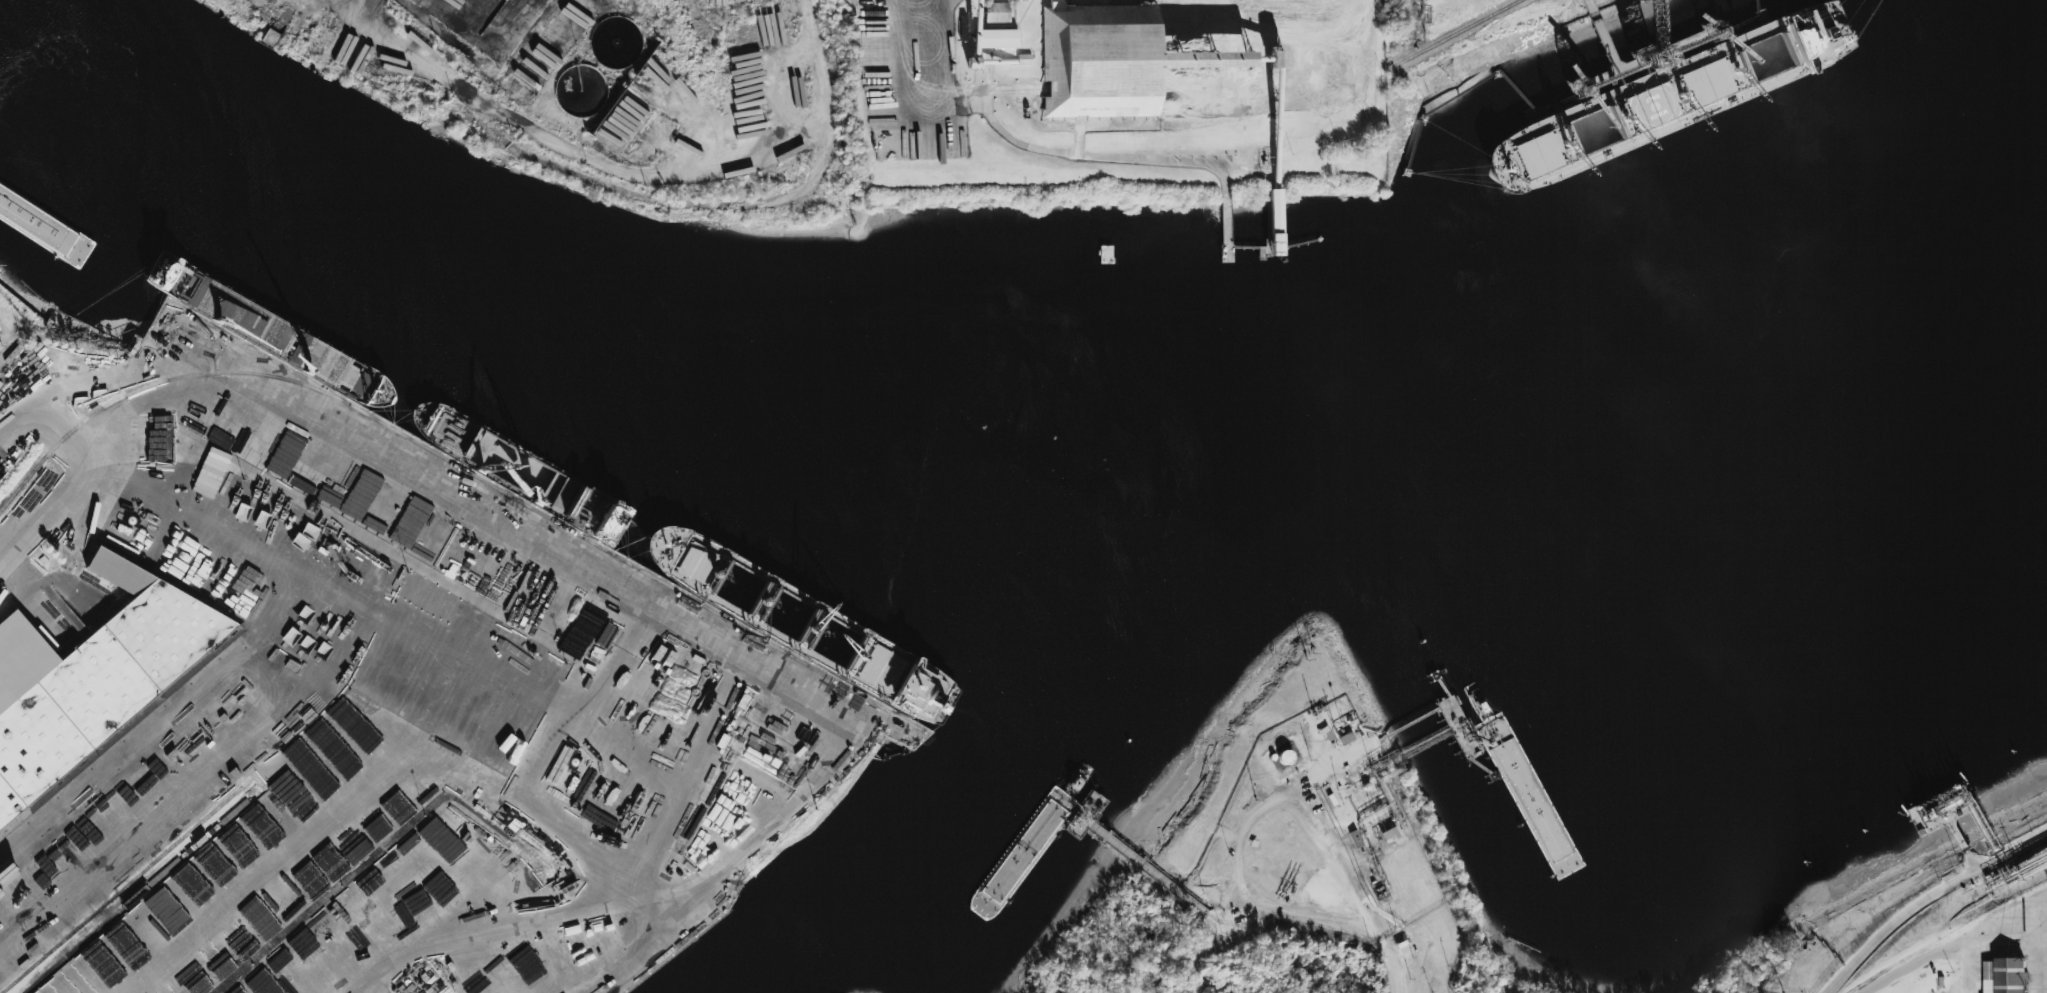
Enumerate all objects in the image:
building: (997, 12)
railway: (1455, 33)
building: (999, 38)
building: (1100, 60)
road: (814, 65)
road: (911, 68)
road: (1342, 118)
road: (565, 148)
road: (1033, 150)
building: (1276, 214)
railway: (154, 383)
road: (16, 431)
river: (1009, 474)
railway: (546, 516)
road: (44, 526)
building: (434, 533)
building: (267, 635)
road: (705, 649)
railway: (122, 745)
river: (1021, 809)
pier: (1076, 825)
railway: (172, 847)
railway: (185, 853)
pier: (1132, 859)
road: (1331, 861)
road: (1936, 907)
road: (1283, 912)
road: (2002, 912)
road: (2041, 941)
road: (1959, 942)
building: (2004, 975)
building: (415, 982)

